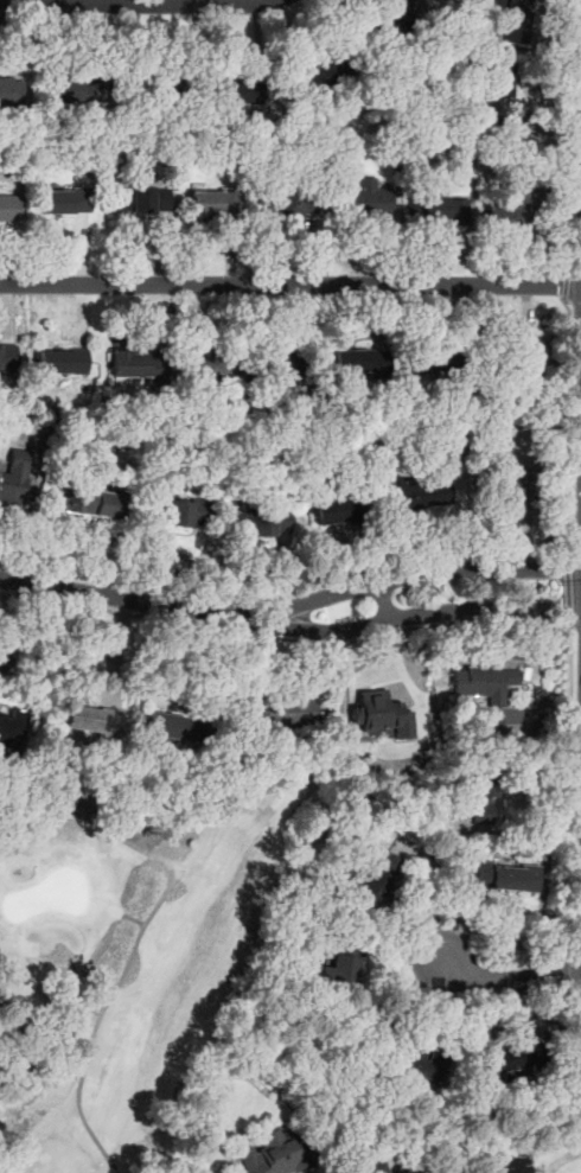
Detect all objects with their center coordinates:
road: (136, 5)
building: (388, 18)
building: (510, 20)
building: (325, 75)
building: (75, 89)
building: (159, 89)
building: (497, 90)
building: (11, 93)
building: (232, 95)
road: (569, 135)
building: (139, 199)
building: (210, 200)
building: (63, 202)
building: (364, 202)
building: (289, 203)
building: (507, 206)
building: (9, 209)
building: (436, 210)
road: (290, 285)
road: (566, 285)
building: (7, 357)
building: (433, 361)
building: (62, 362)
building: (358, 362)
building: (207, 364)
building: (136, 365)
building: (285, 365)
building: (521, 374)
road: (570, 429)
building: (13, 478)
building: (509, 482)
building: (417, 492)
building: (92, 502)
building: (337, 509)
building: (183, 514)
building: (260, 523)
road: (576, 548)
road: (419, 574)
road: (568, 588)
road: (130, 599)
road: (382, 603)
road: (420, 614)
road: (575, 625)
road: (283, 638)
building: (485, 683)
building: (283, 708)
building: (381, 718)
building: (90, 719)
building: (13, 725)
building: (172, 727)
road: (570, 792)
building: (481, 796)
road: (523, 830)
building: (506, 876)
building: (375, 878)
road: (136, 935)
park: (135, 960)
building: (337, 973)
road: (566, 975)
road: (510, 976)
road: (577, 1001)
building: (506, 1060)
building: (420, 1064)
building: (270, 1153)
building: (510, 1166)
building: (371, 1168)

